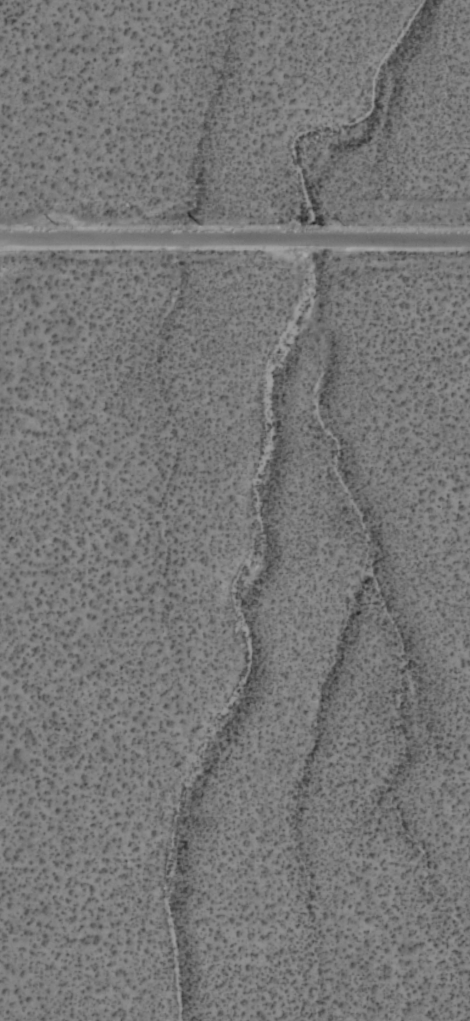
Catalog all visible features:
road: (235, 240)

